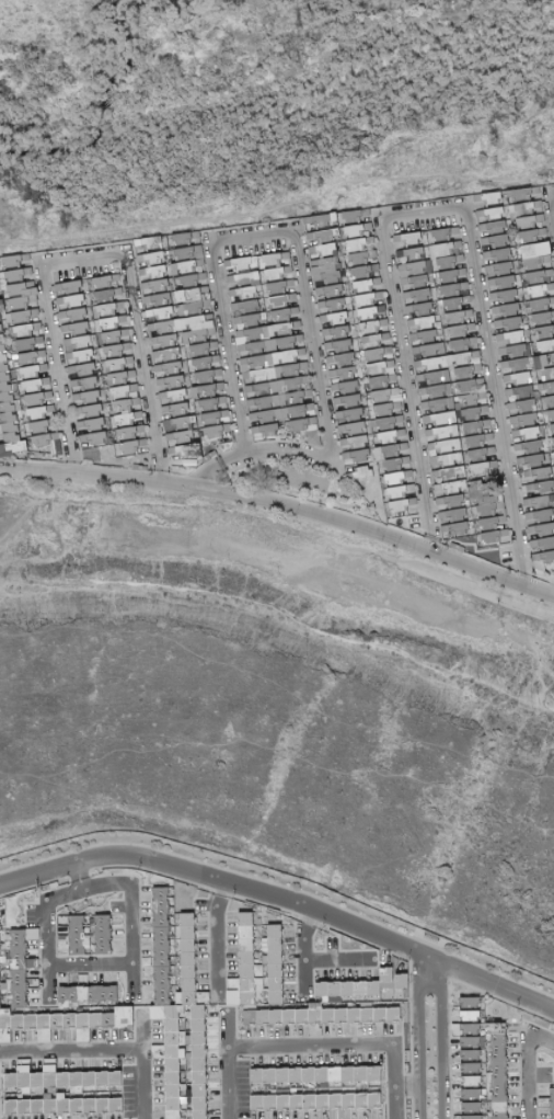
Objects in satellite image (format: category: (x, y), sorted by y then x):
park: (300, 483)

